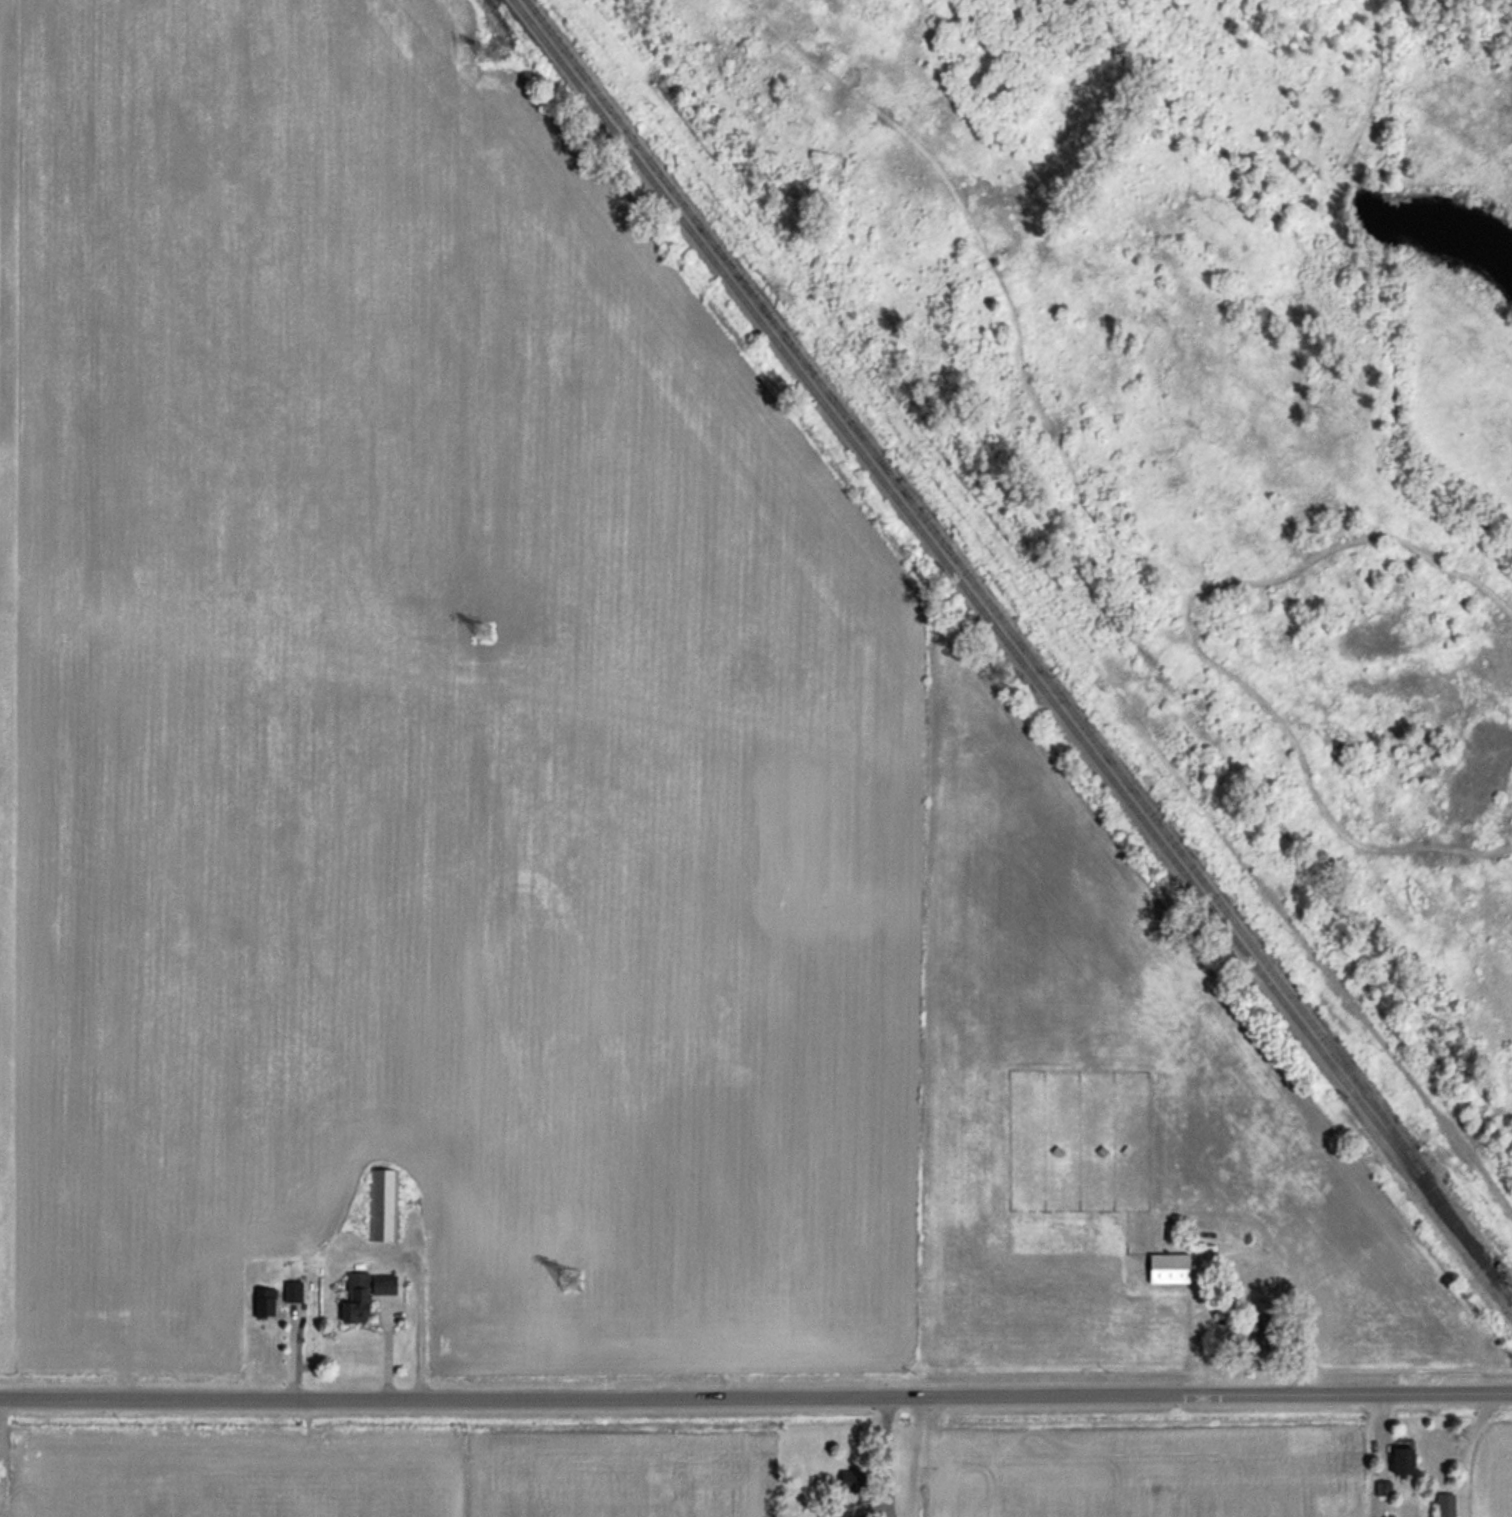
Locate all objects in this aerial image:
power tower: (484, 57)
railway: (1006, 630)
power tower: (479, 635)
railway: (1011, 652)
crop: (425, 732)
road: (1231, 766)
building: (381, 1204)
building: (1172, 1232)
road: (1242, 1255)
building: (1167, 1269)
power tower: (565, 1284)
building: (292, 1292)
building: (361, 1294)
building: (263, 1301)
building: (1261, 1334)
road: (756, 1397)
building: (1400, 1461)
road: (885, 1468)
building: (847, 1482)
building: (1444, 1505)
building: (836, 1512)

